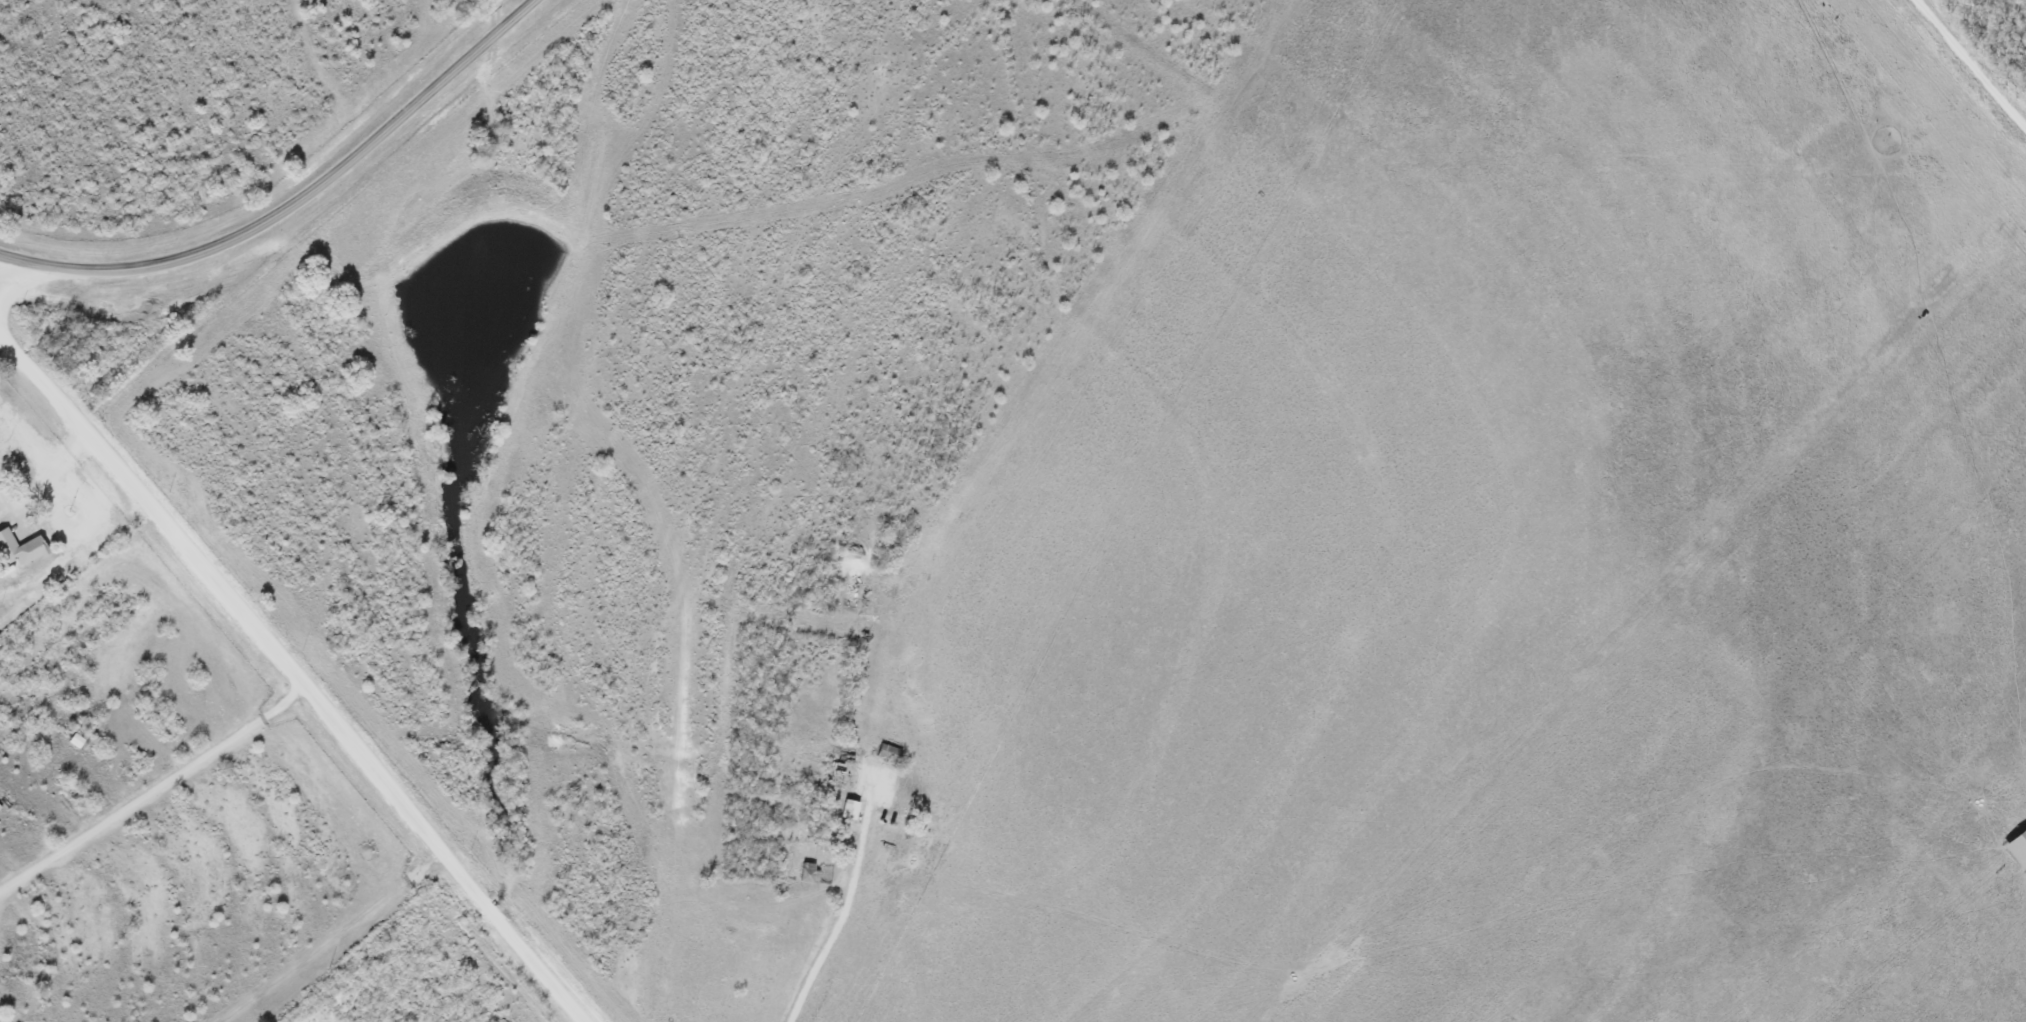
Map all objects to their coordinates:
road: (1965, 73)
road: (292, 199)
building: (19, 551)
road: (296, 673)
building: (77, 743)
building: (845, 773)
road: (152, 786)
building: (848, 812)
road: (845, 908)

